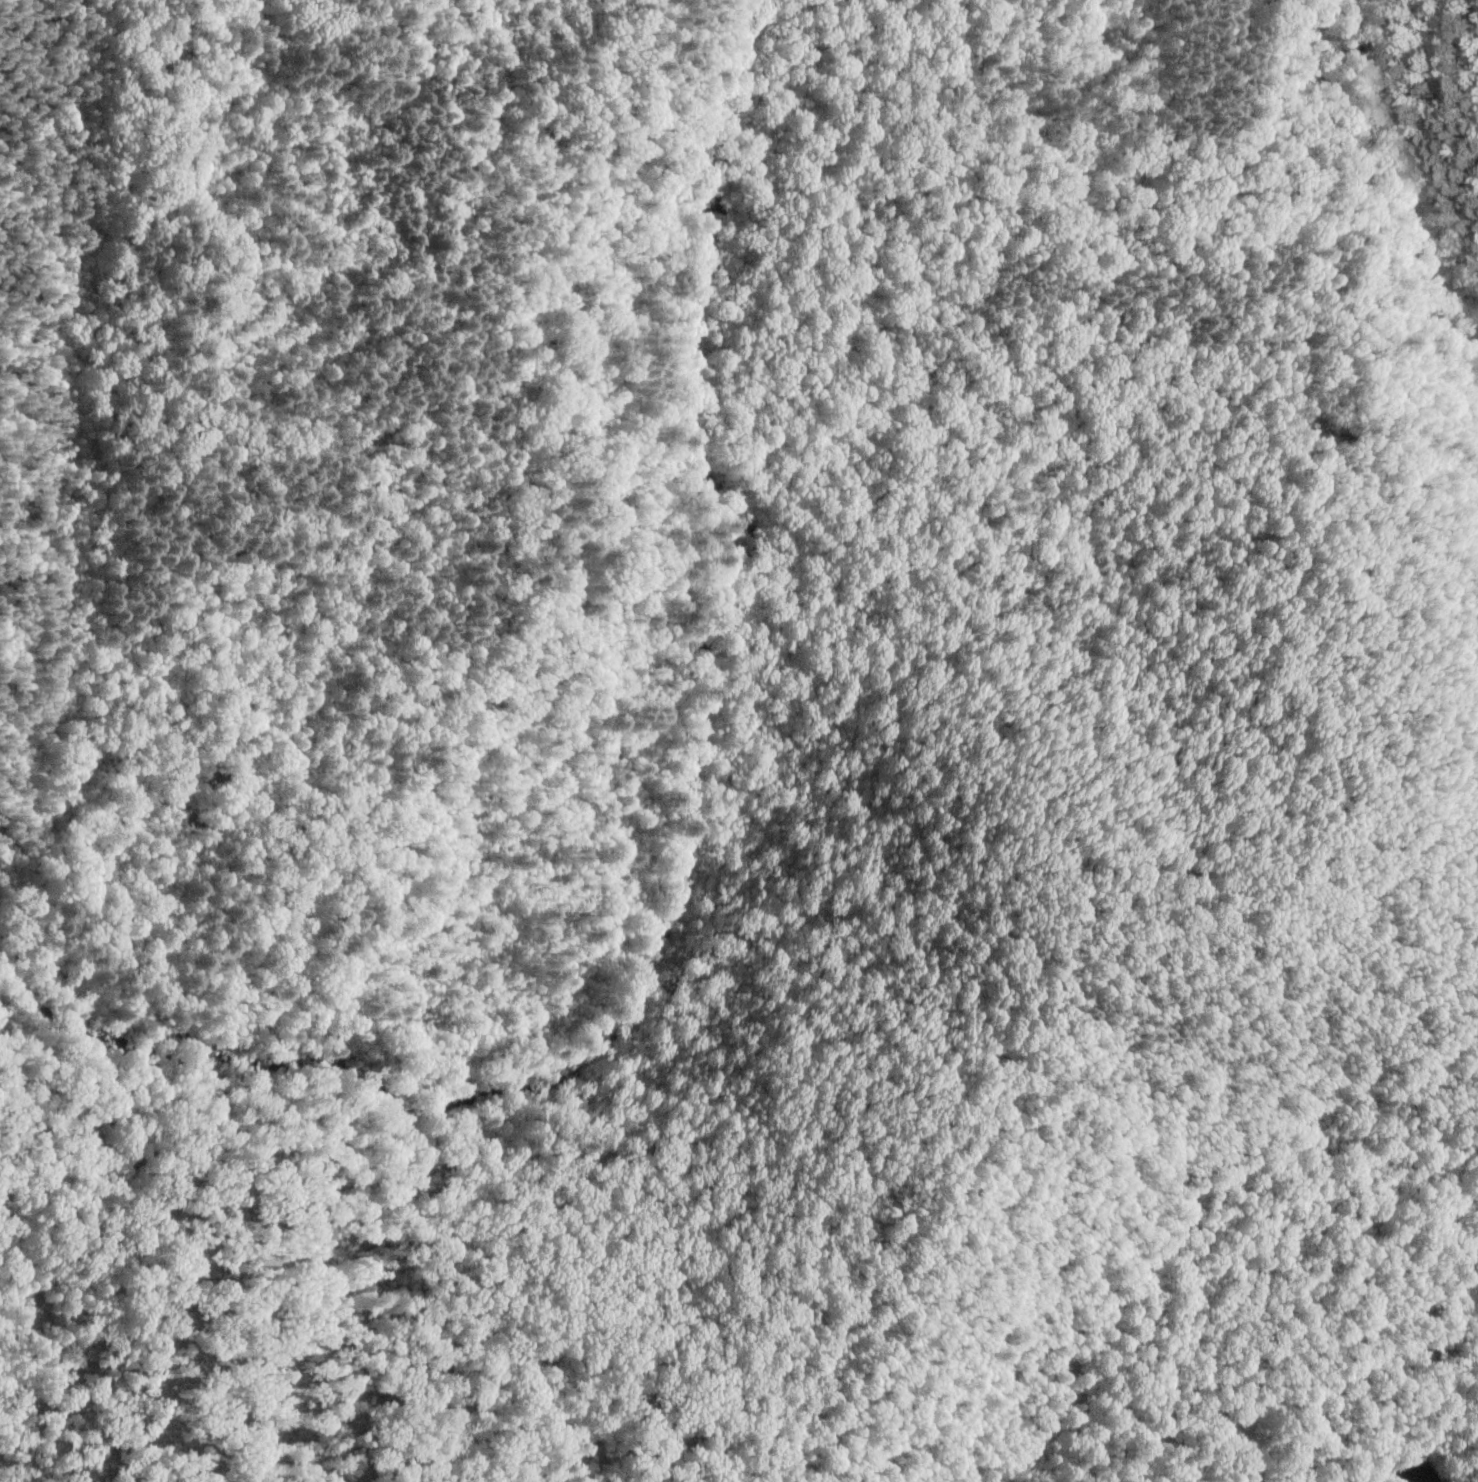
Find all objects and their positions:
road: (1112, 274)

